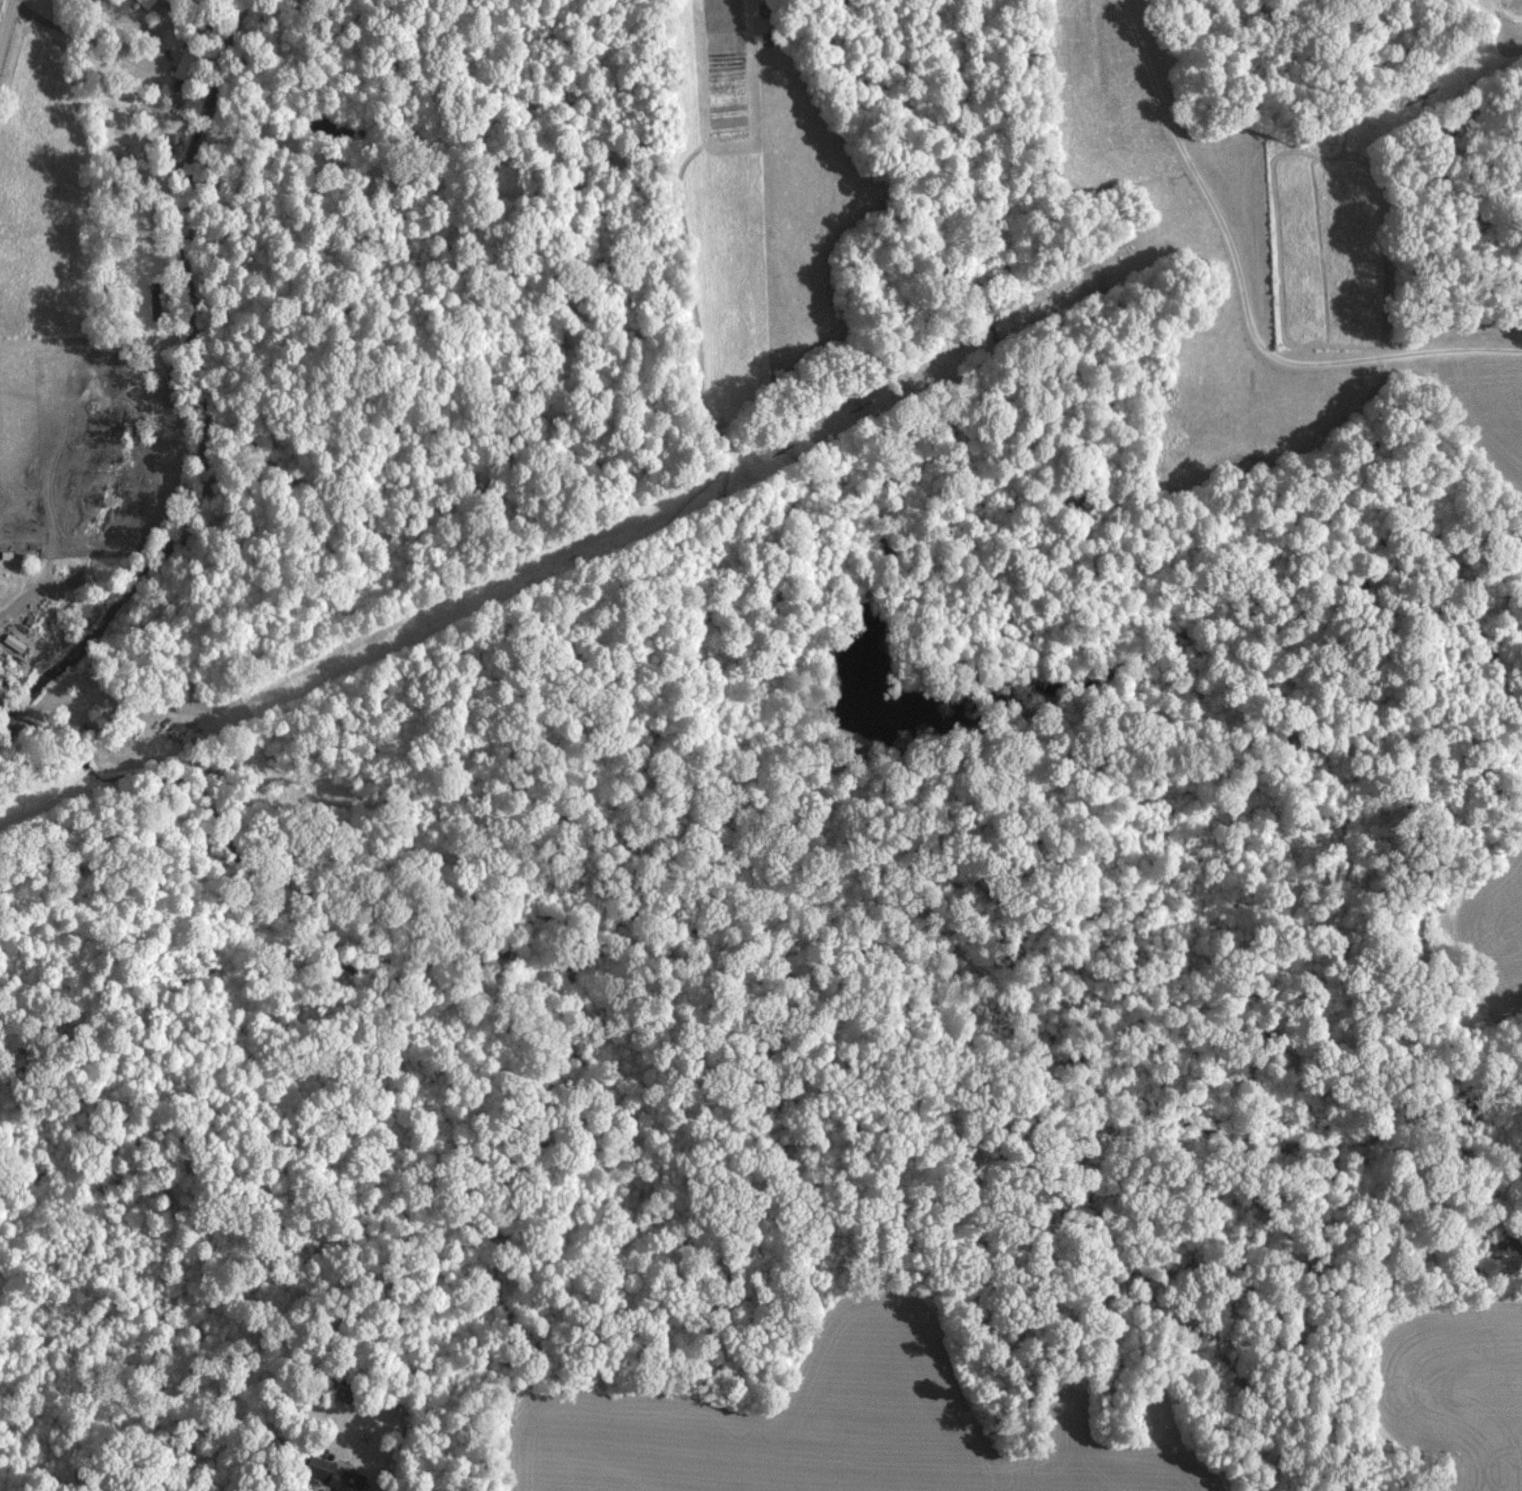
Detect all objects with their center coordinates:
road: (6, 20)
road: (134, 60)
road: (1246, 294)

